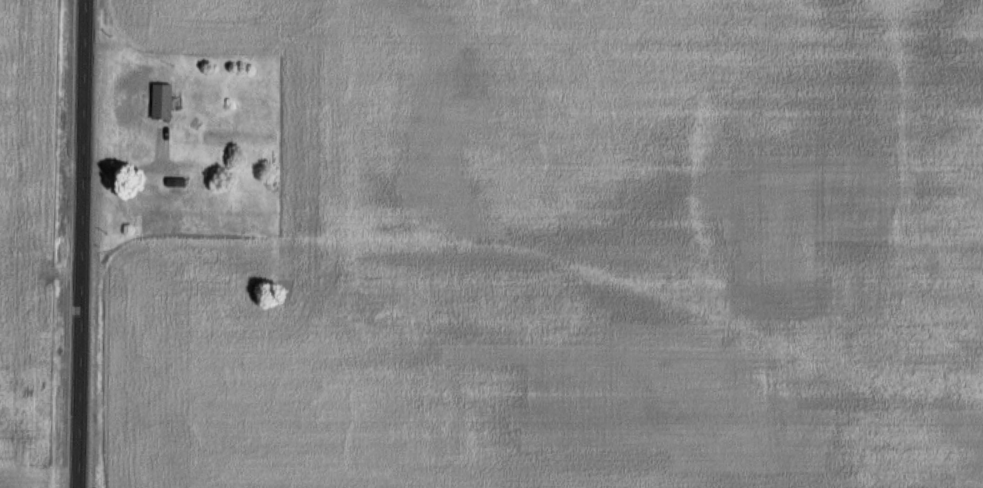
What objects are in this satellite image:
building: (155, 101)
road: (79, 244)

